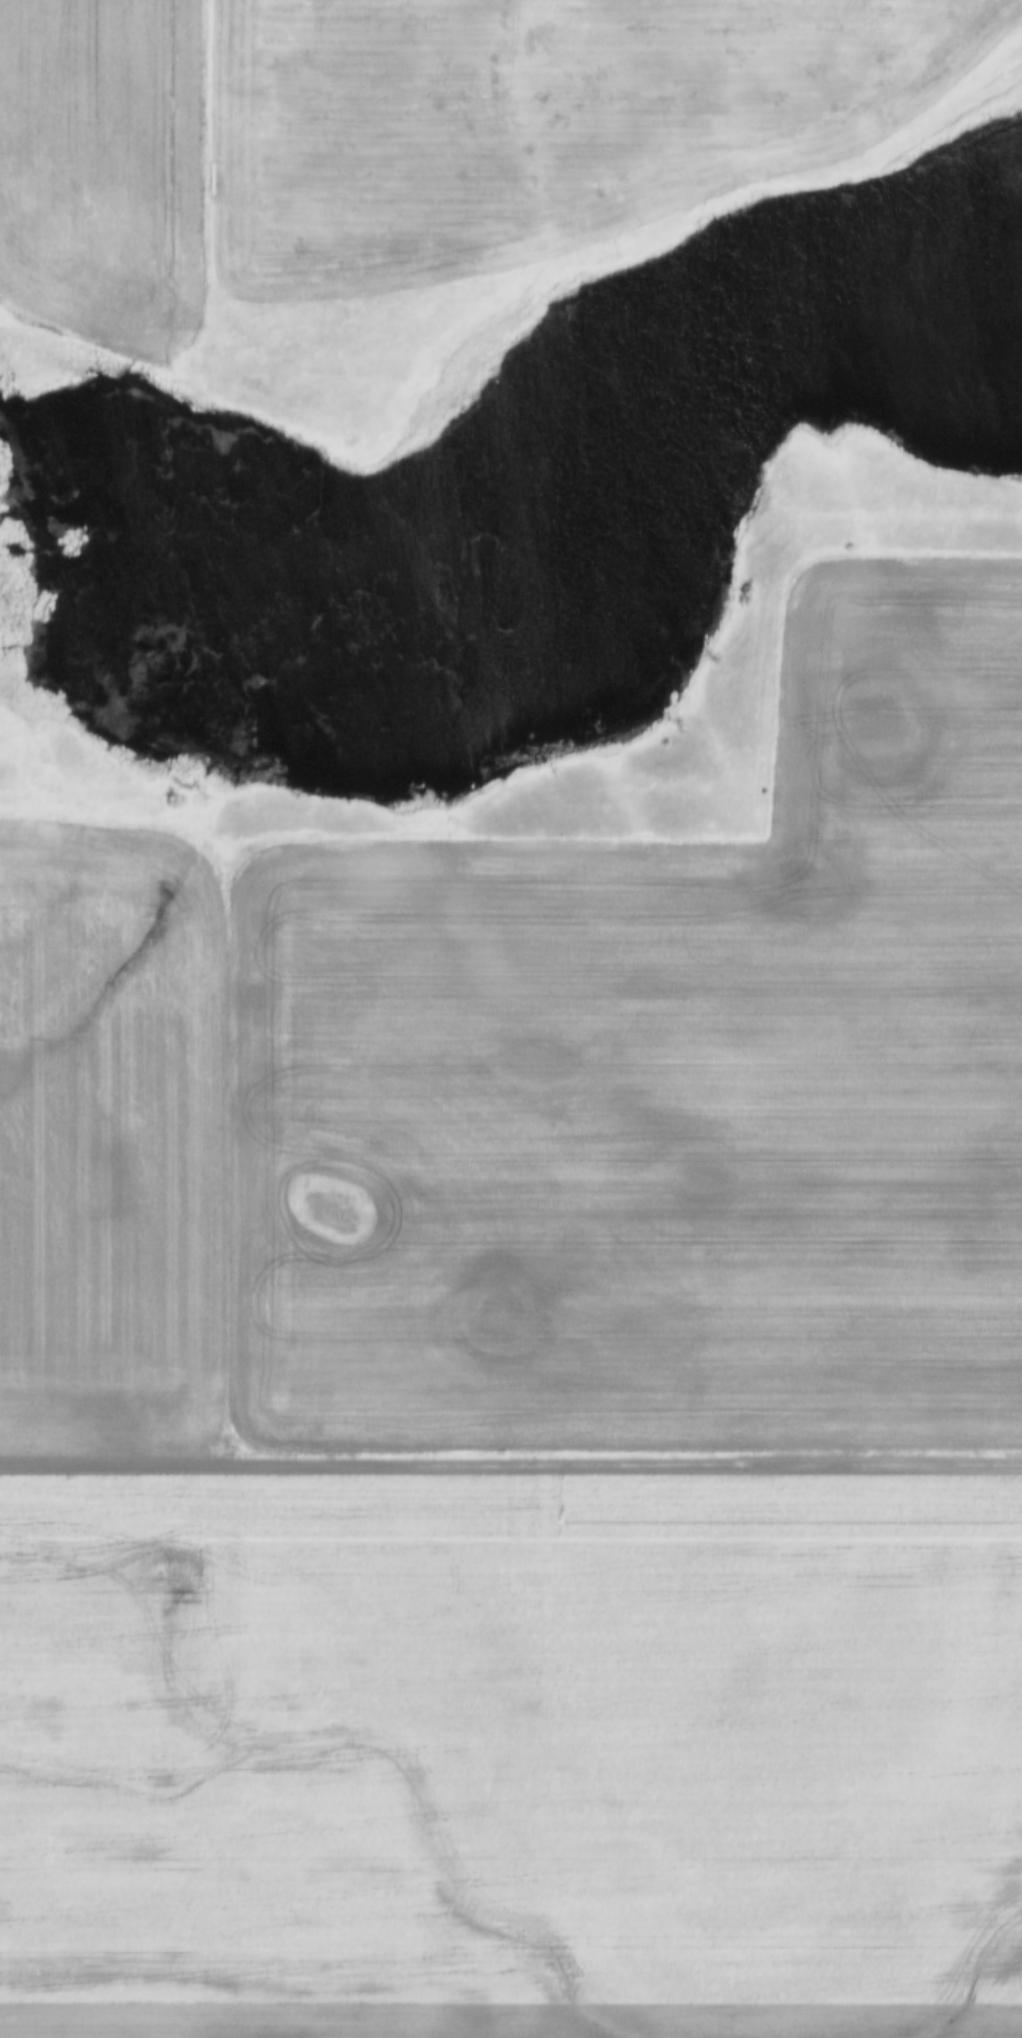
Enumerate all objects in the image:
road: (510, 1462)

